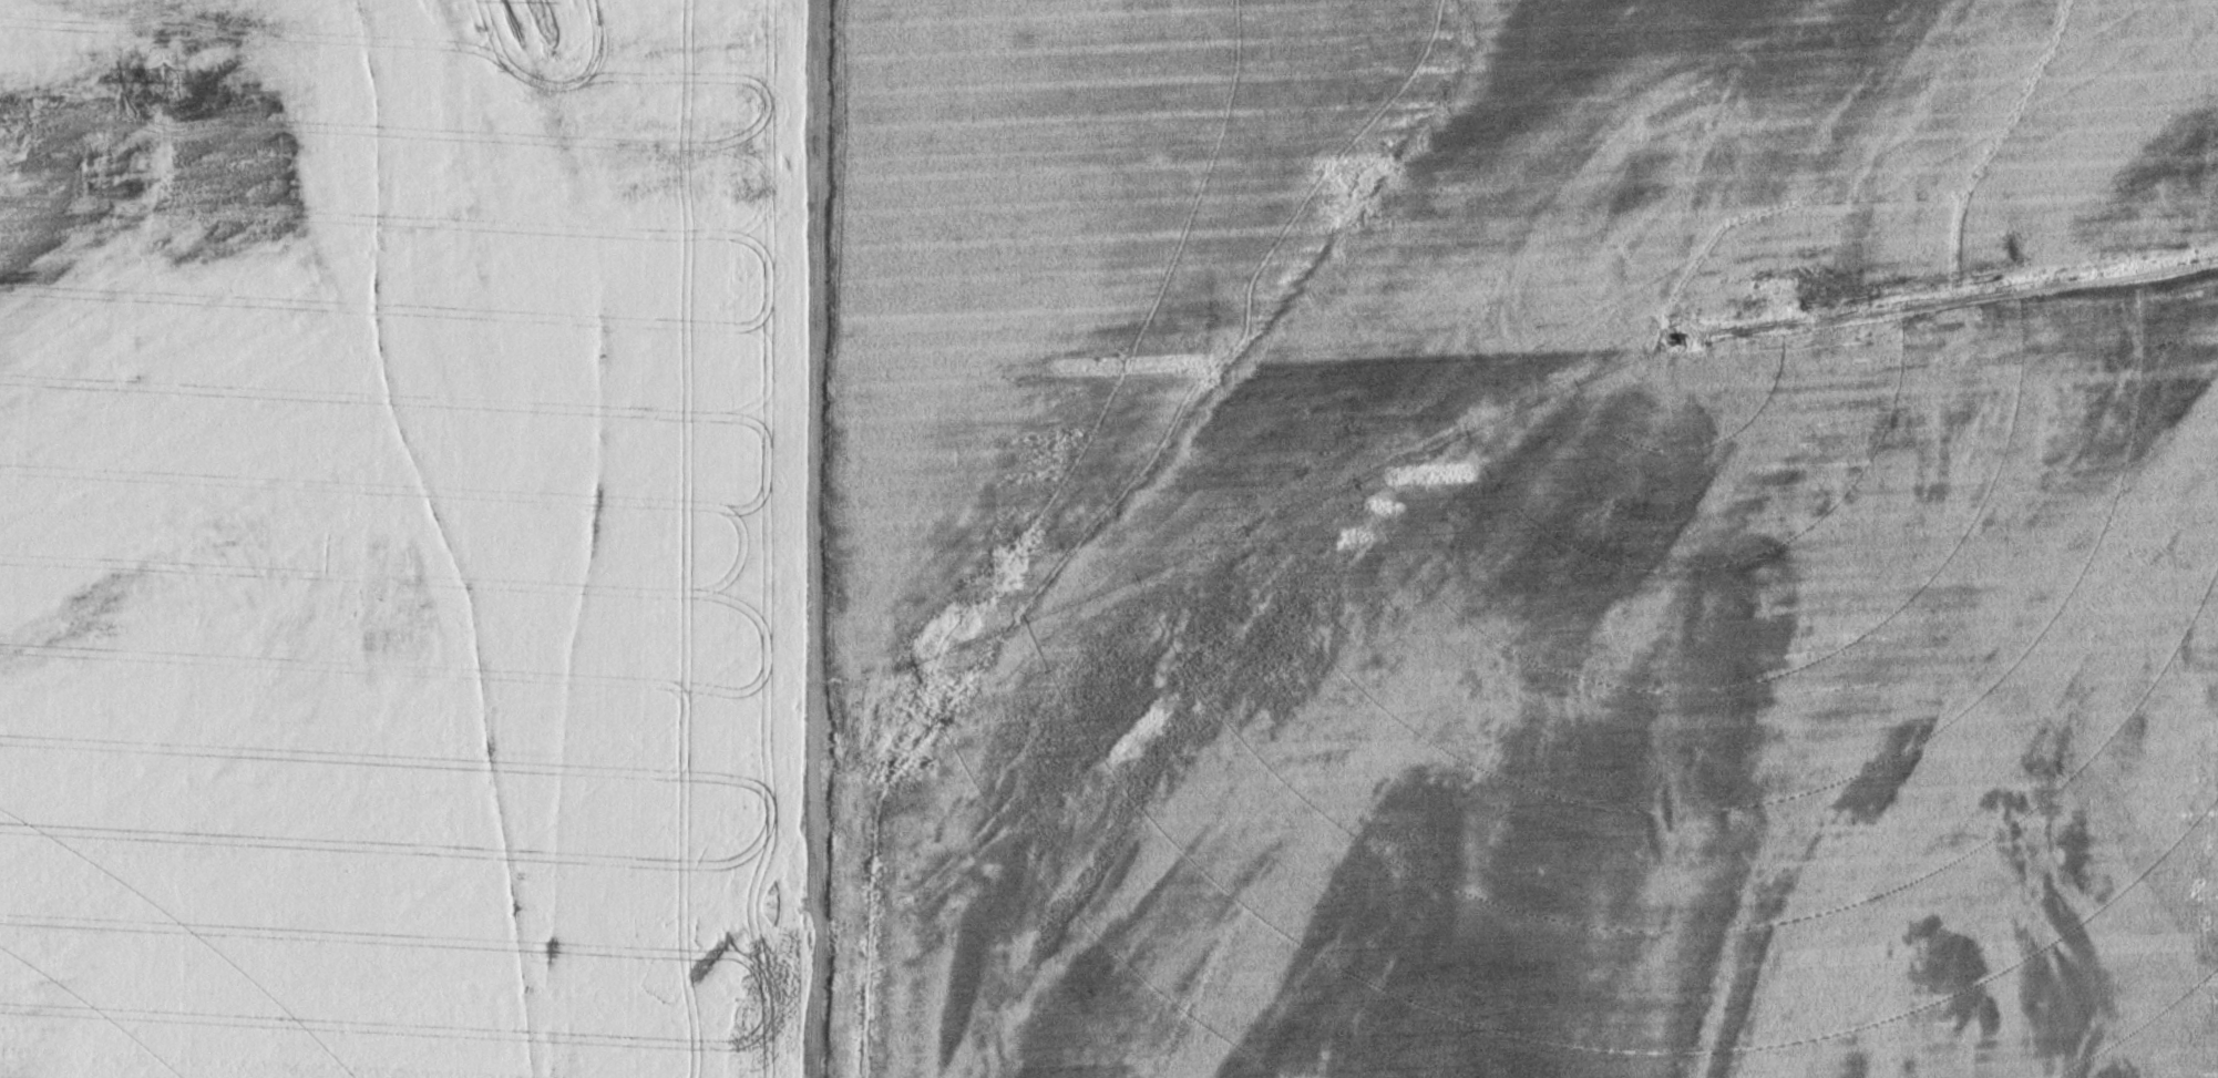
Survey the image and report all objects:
power tower: (175, 80)

